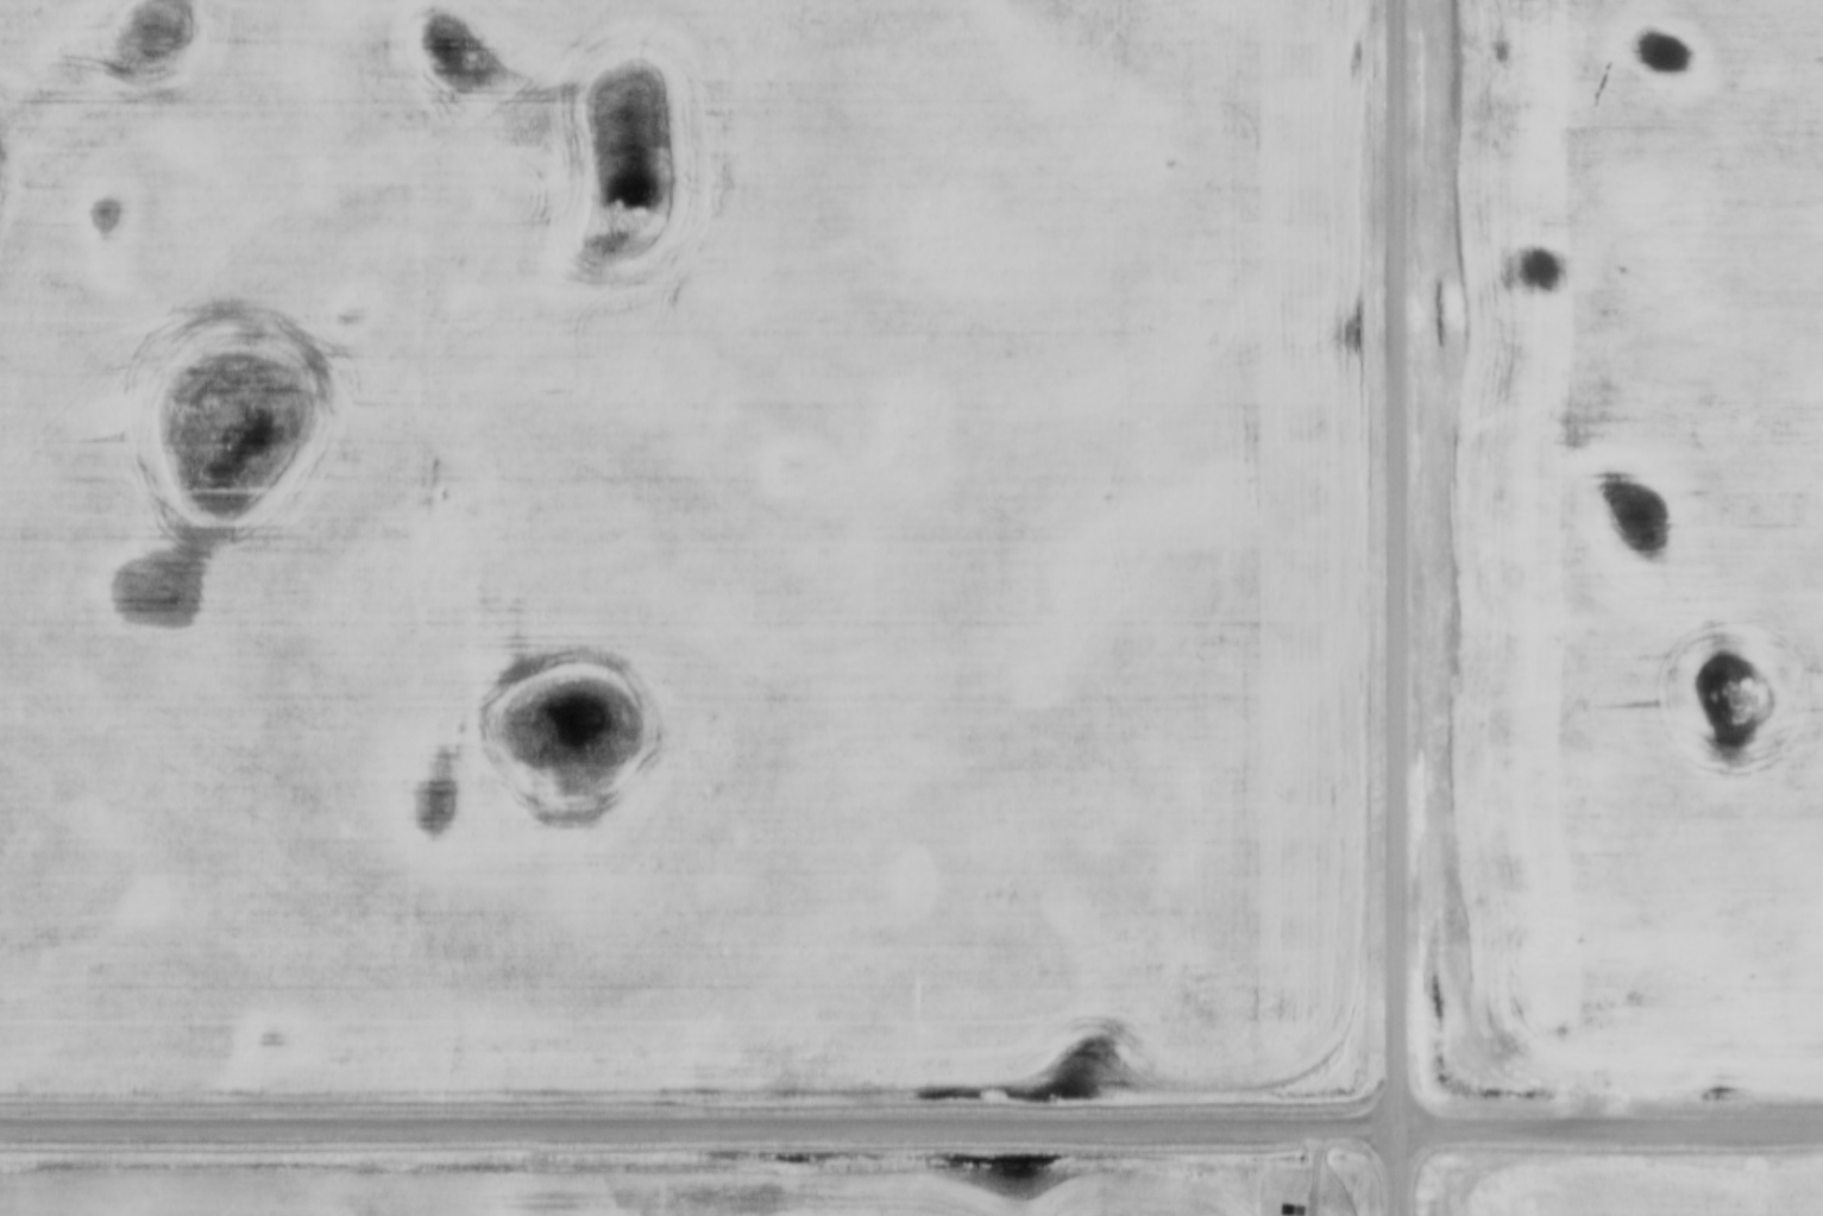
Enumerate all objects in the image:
road: (1400, 607)
road: (911, 1117)
road: (1318, 1166)

